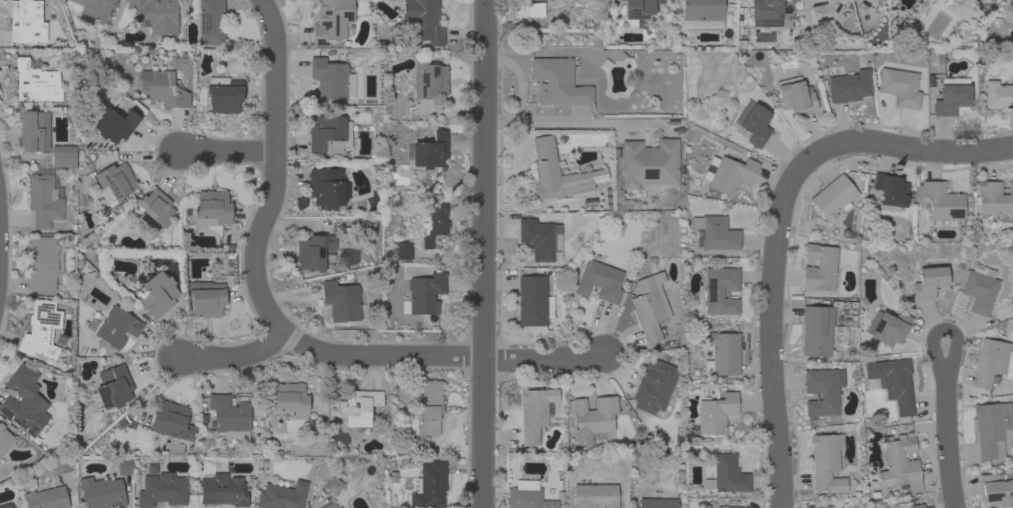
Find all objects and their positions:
building: (874, 1)
building: (1009, 4)
building: (535, 8)
building: (93, 9)
building: (826, 10)
building: (636, 11)
building: (765, 12)
building: (701, 13)
building: (156, 17)
building: (331, 20)
building: (424, 20)
building: (26, 21)
building: (210, 22)
building: (331, 79)
building: (429, 80)
building: (36, 82)
building: (557, 82)
building: (849, 86)
building: (899, 86)
building: (166, 87)
building: (223, 94)
building: (795, 94)
building: (951, 95)
building: (998, 95)
building: (112, 122)
road: (582, 122)
building: (753, 122)
building: (34, 130)
building: (329, 134)
road: (879, 146)
building: (428, 150)
road: (227, 151)
building: (63, 156)
building: (648, 163)
building: (545, 164)
building: (731, 174)
building: (115, 182)
building: (326, 187)
building: (891, 189)
building: (833, 196)
building: (44, 198)
building: (994, 201)
building: (943, 202)
building: (213, 206)
building: (153, 210)
building: (435, 222)
building: (369, 227)
building: (714, 233)
building: (538, 237)
building: (403, 250)
building: (315, 252)
road: (484, 254)
building: (43, 262)
building: (819, 267)
road: (256, 269)
building: (599, 281)
building: (929, 281)
building: (979, 288)
building: (720, 290)
building: (155, 292)
building: (424, 294)
building: (206, 298)
building: (341, 300)
building: (533, 301)
building: (650, 308)
building: (113, 326)
building: (888, 327)
building: (41, 329)
building: (816, 330)
road: (234, 354)
building: (723, 354)
road: (769, 357)
road: (543, 360)
building: (991, 361)
building: (892, 382)
building: (654, 385)
building: (113, 387)
building: (822, 390)
building: (290, 398)
building: (24, 400)
building: (430, 406)
building: (360, 407)
building: (228, 413)
building: (532, 414)
building: (714, 414)
building: (592, 417)
building: (172, 421)
road: (947, 426)
building: (992, 429)
building: (4, 439)
building: (826, 462)
building: (899, 463)
building: (60, 465)
building: (124, 465)
building: (149, 468)
building: (726, 474)
building: (390, 477)
building: (429, 484)
building: (333, 485)
building: (161, 489)
building: (222, 489)
building: (995, 490)
building: (101, 492)
building: (281, 495)
building: (594, 495)
building: (527, 496)
building: (46, 498)
building: (657, 503)
building: (6, 505)
building: (328, 505)
building: (916, 505)
building: (728, 506)
building: (338, 507)

